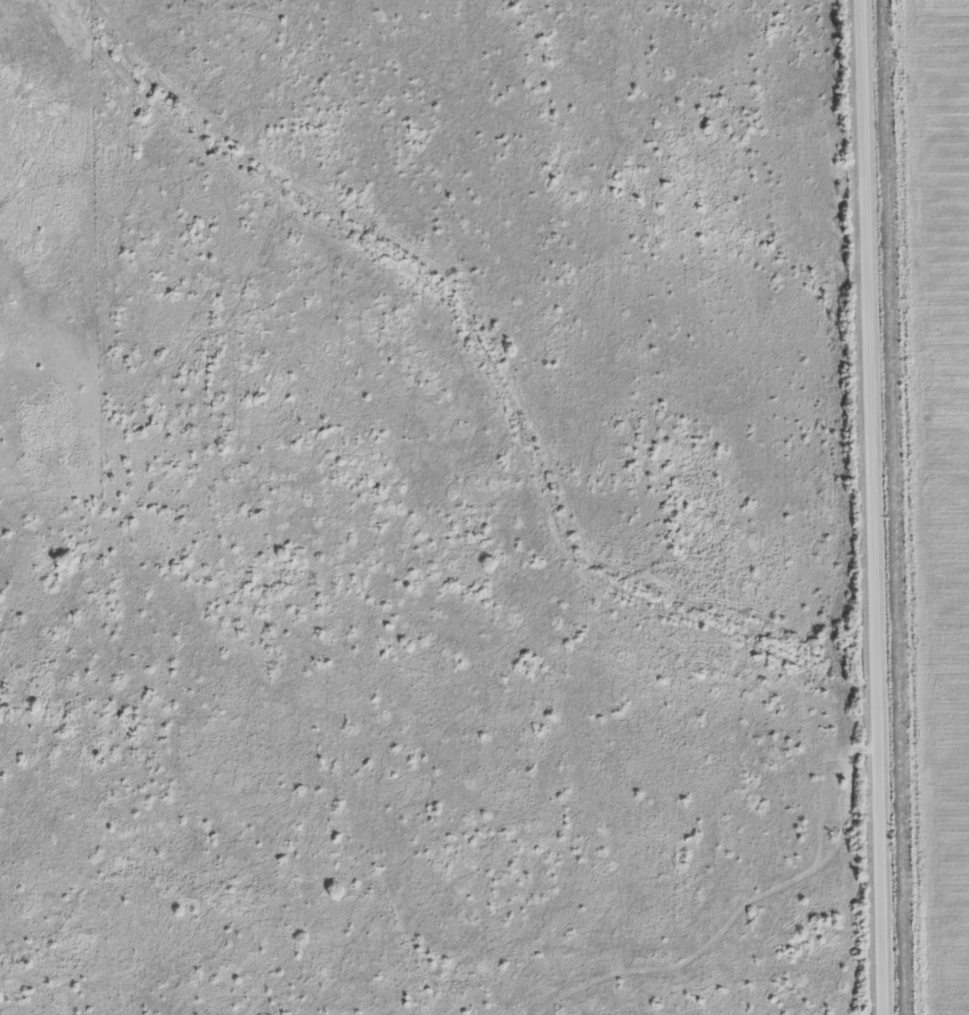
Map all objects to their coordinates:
road: (875, 507)

